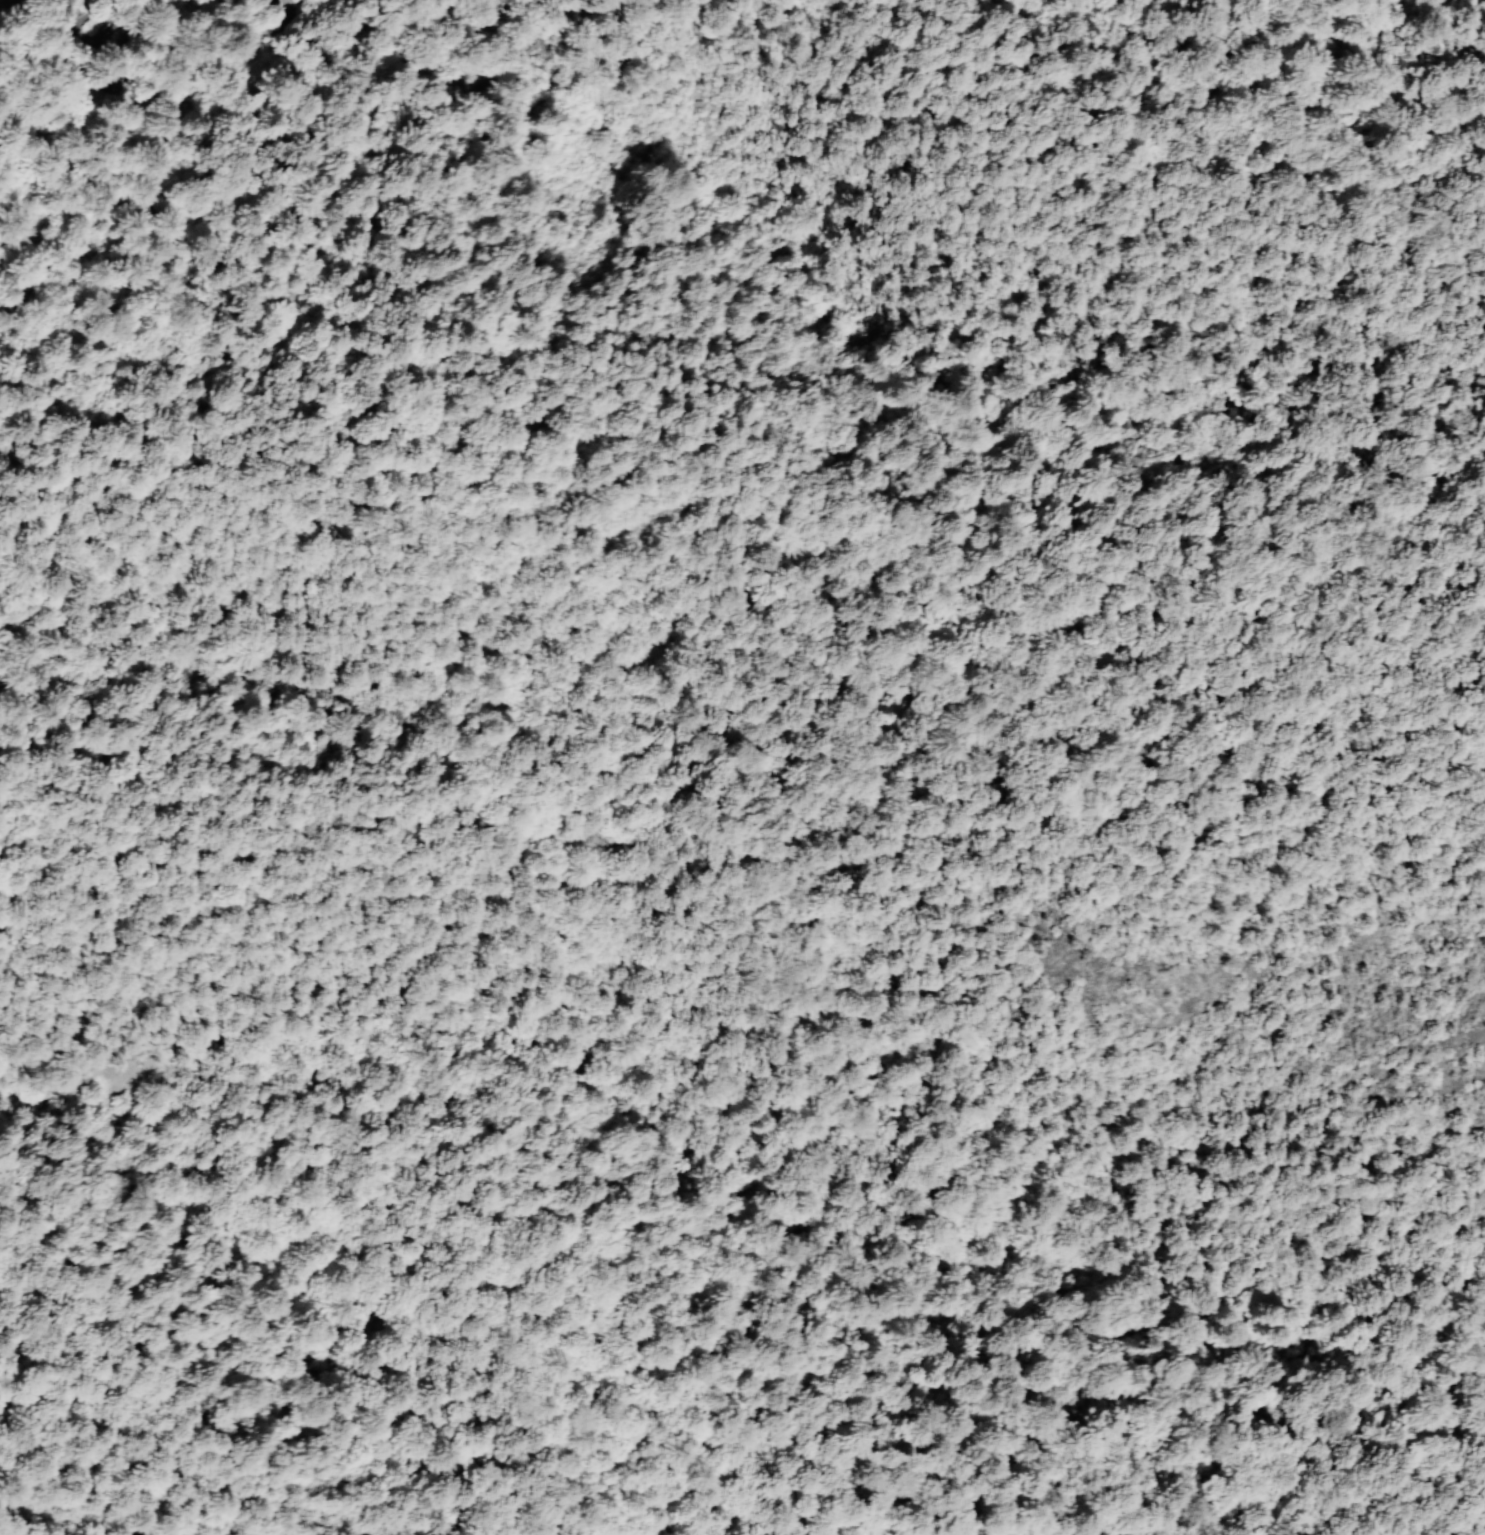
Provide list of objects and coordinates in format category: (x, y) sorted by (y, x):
road: (55, 38)
road: (18, 41)

